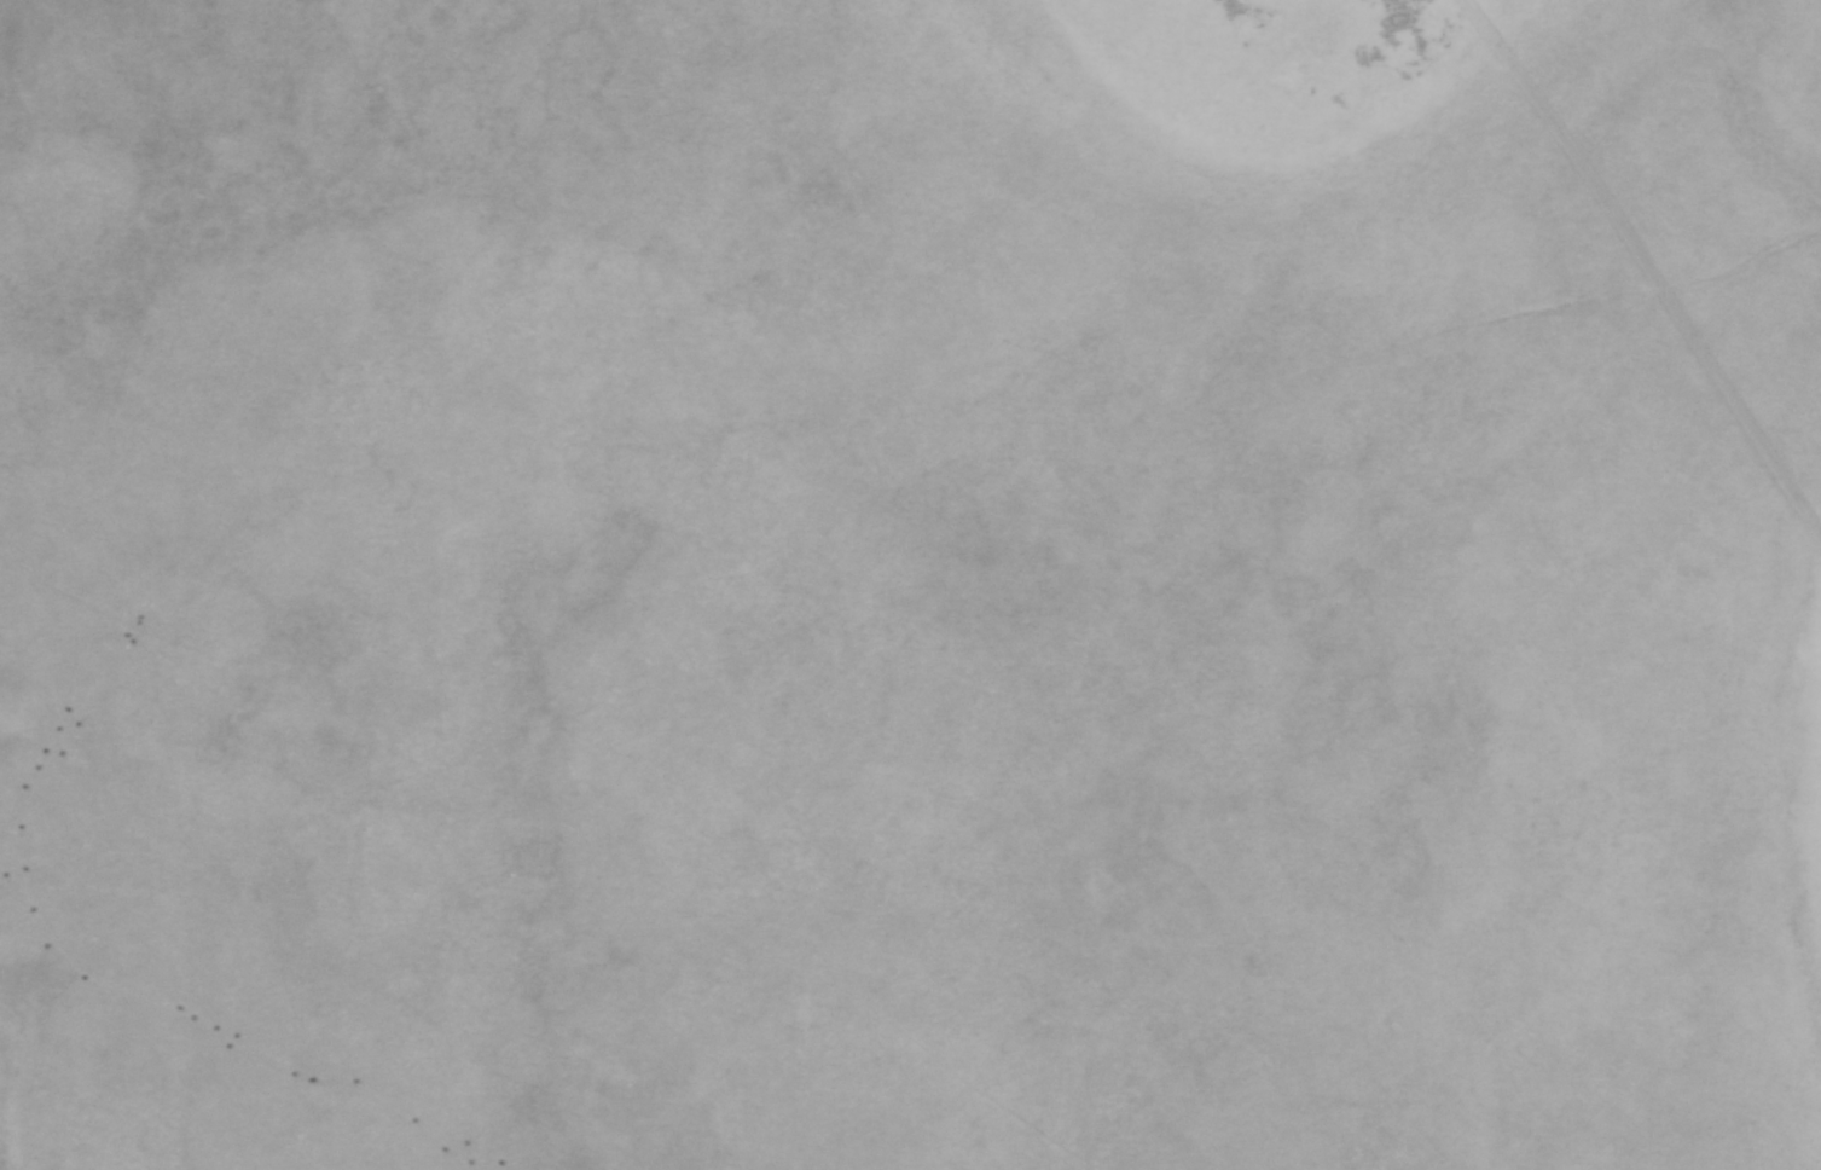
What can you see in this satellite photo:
road: (1639, 278)

